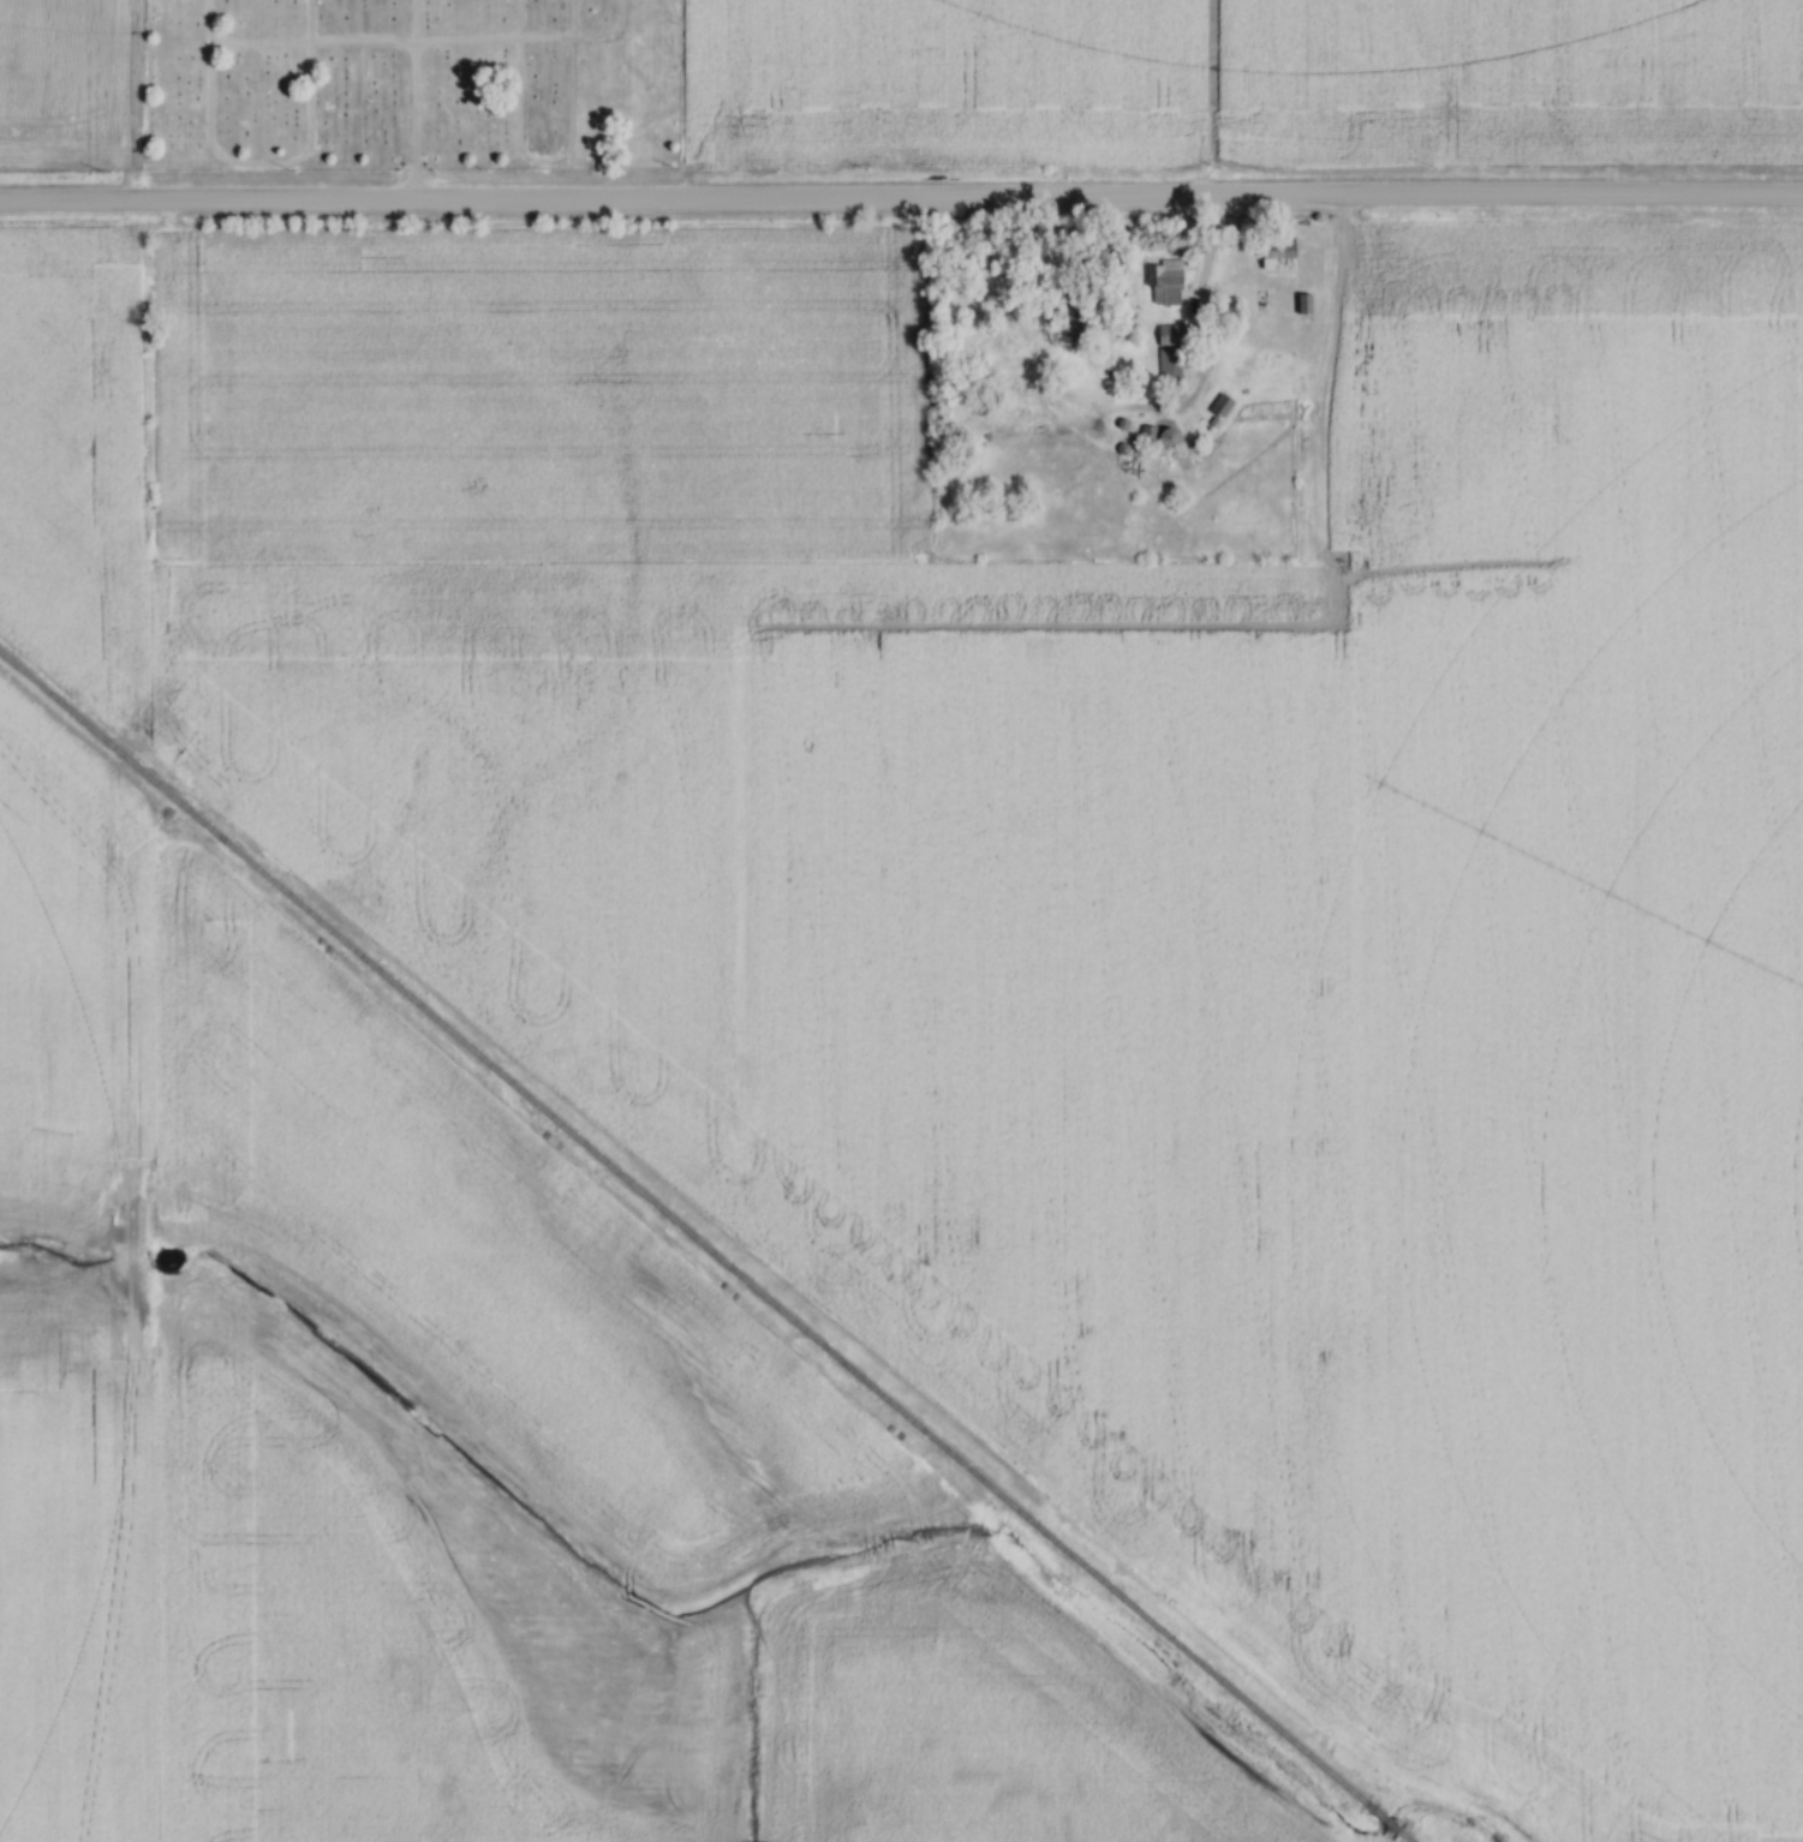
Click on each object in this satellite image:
park: (413, 89)
road: (901, 203)
building: (1273, 256)
building: (1164, 285)
road: (1329, 307)
building: (1068, 322)
building: (1166, 357)
building: (1274, 369)
building: (1218, 408)
railway: (685, 1221)
railway: (1386, 1814)
railway: (1411, 1834)

